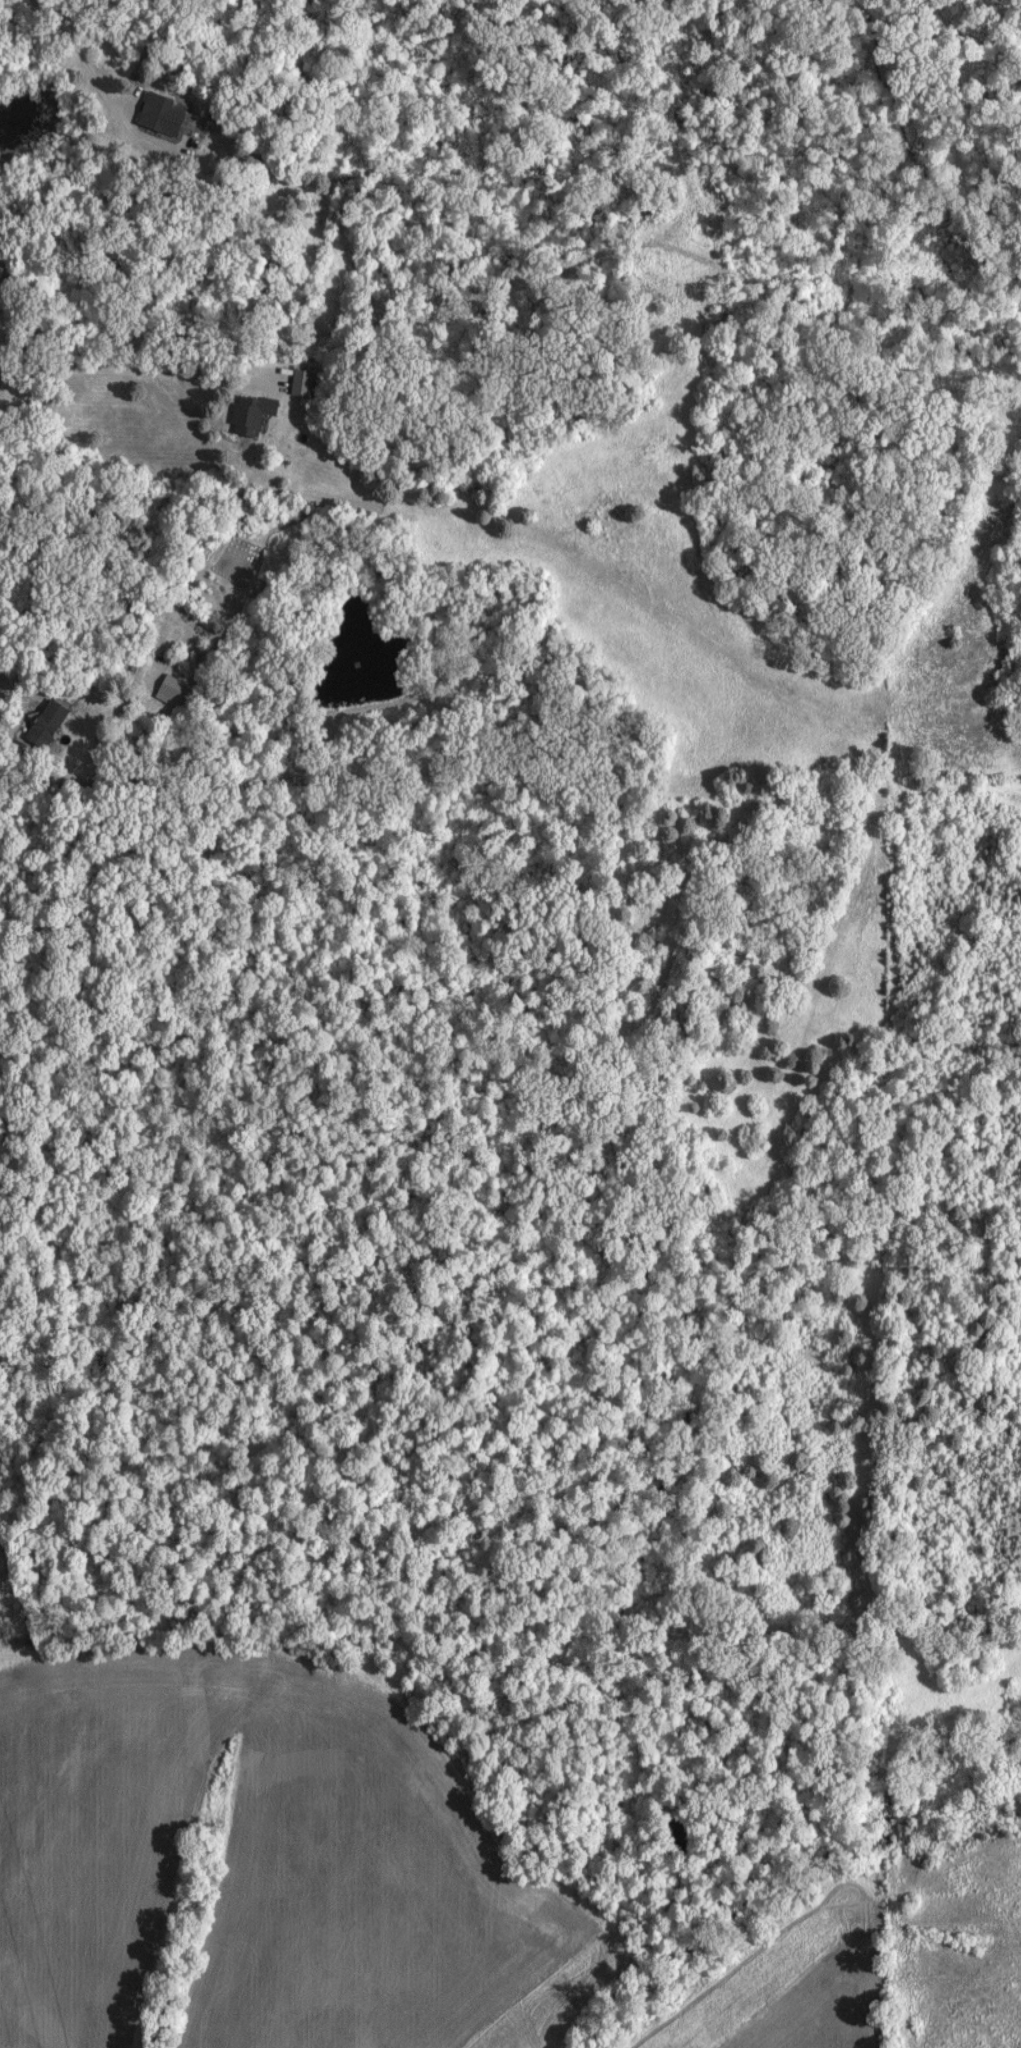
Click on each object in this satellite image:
road: (86, 62)
building: (156, 112)
road: (131, 373)
building: (297, 382)
building: (250, 412)

